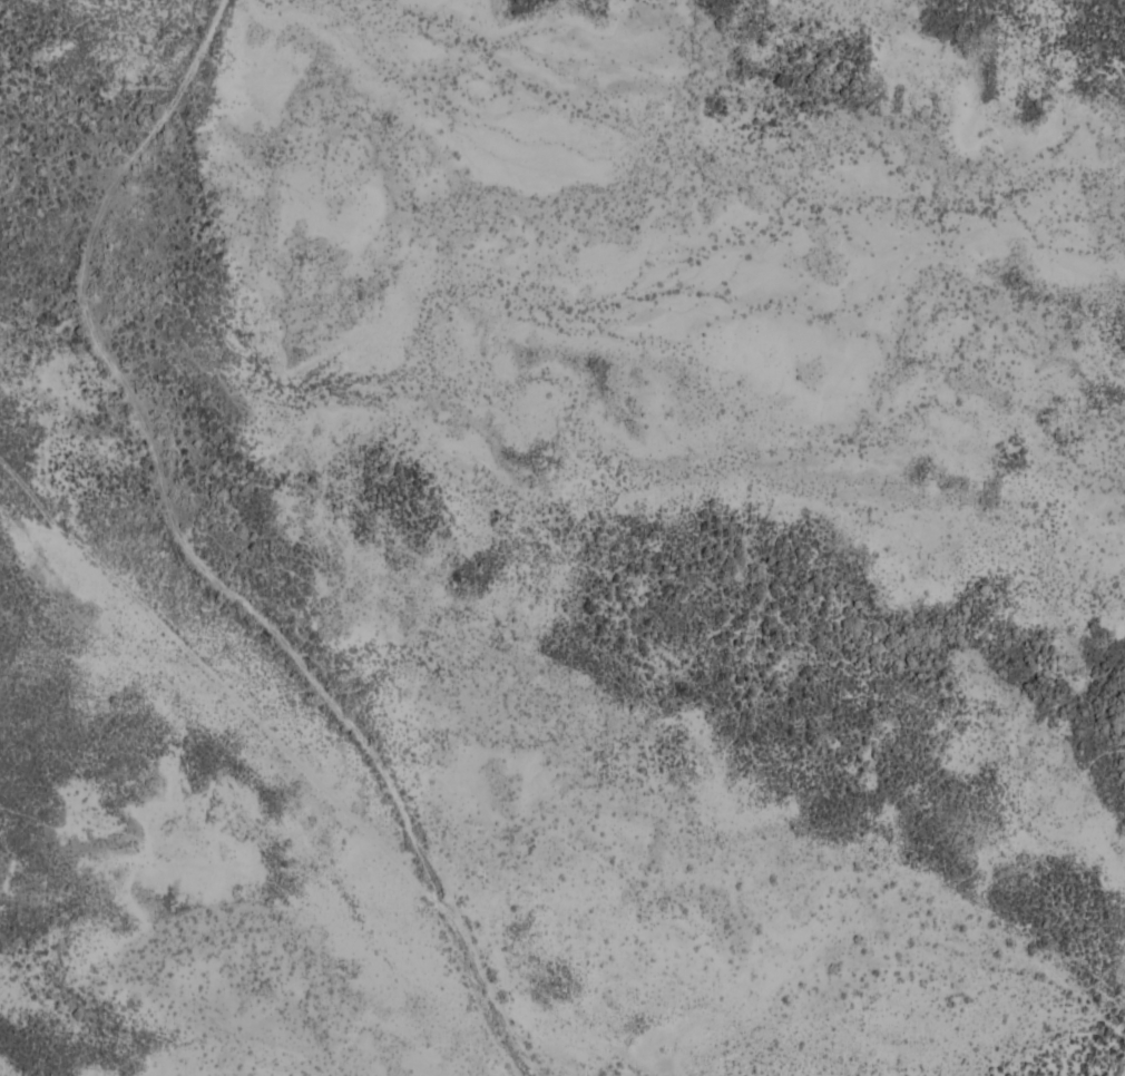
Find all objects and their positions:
road: (108, 182)
road: (339, 643)

